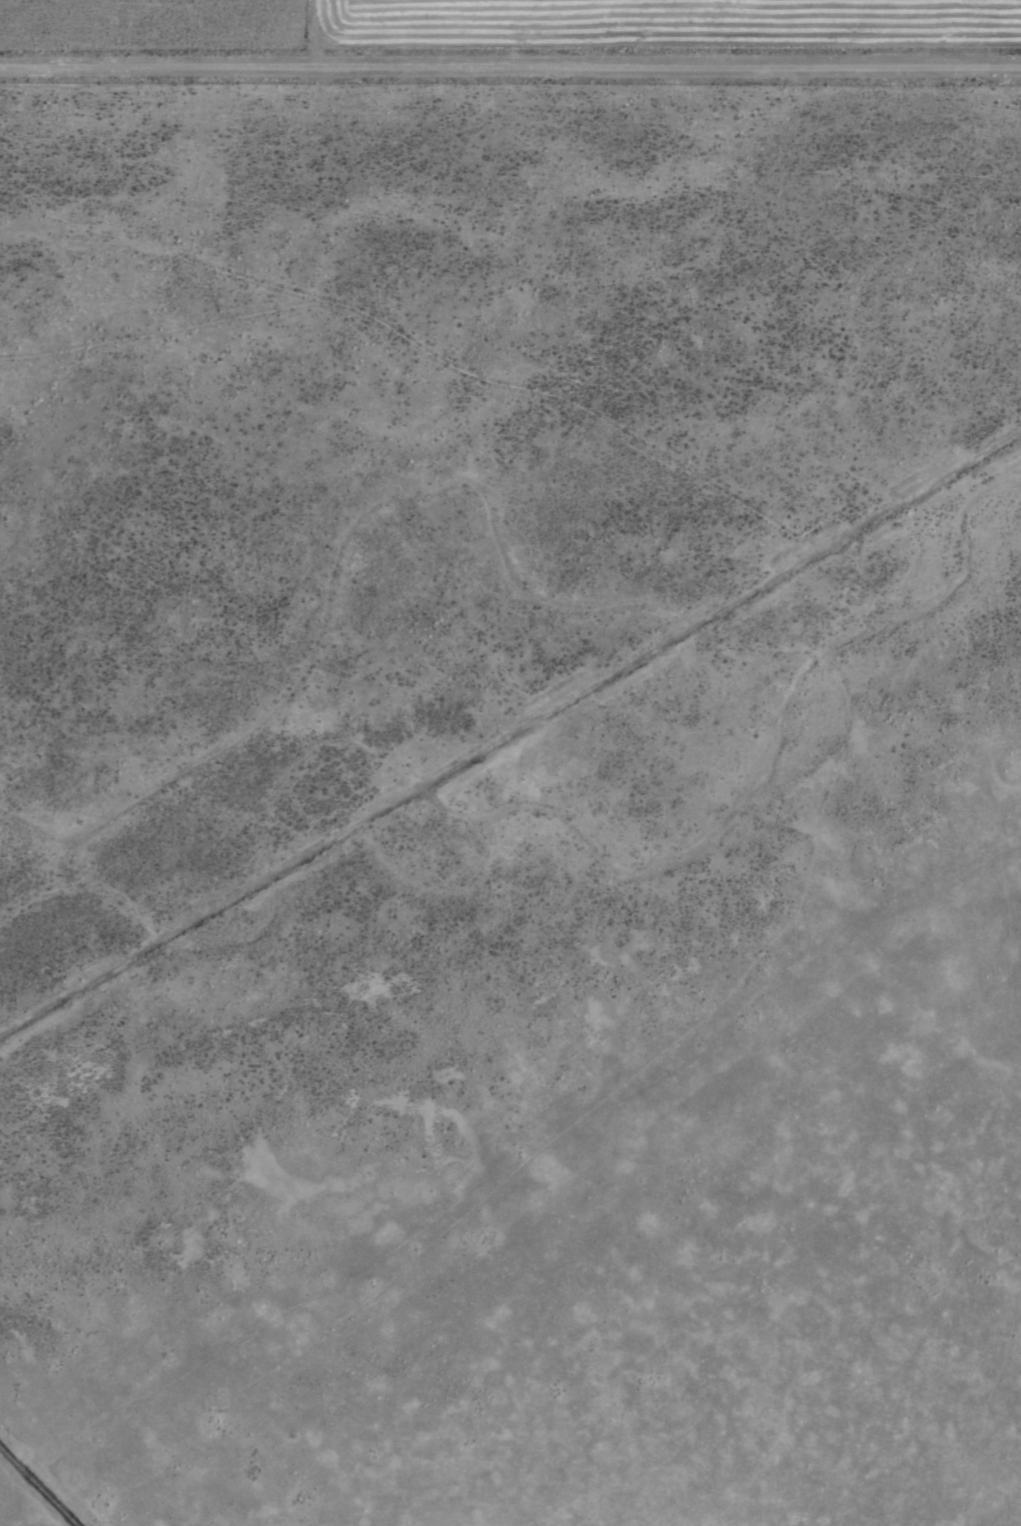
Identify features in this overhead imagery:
road: (510, 67)
crop: (510, 763)
railway: (38, 1486)

